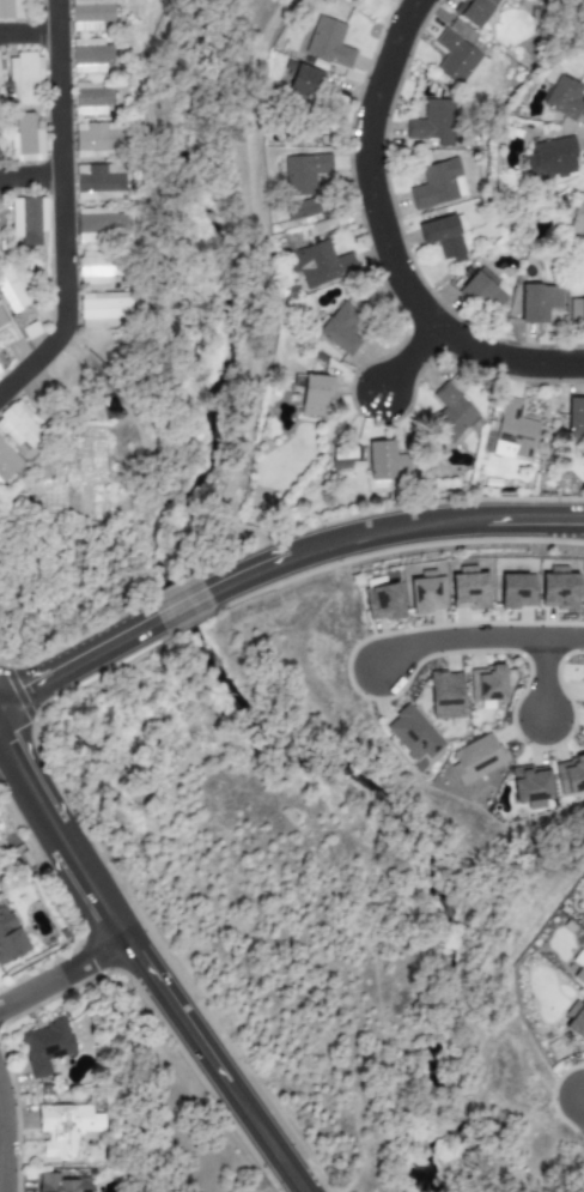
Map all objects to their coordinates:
building: (10, 10)
building: (475, 12)
building: (90, 14)
road: (28, 34)
building: (327, 42)
building: (90, 55)
building: (455, 56)
building: (24, 80)
building: (302, 84)
building: (562, 97)
building: (91, 98)
building: (432, 122)
building: (26, 139)
building: (98, 139)
building: (550, 158)
building: (304, 174)
road: (30, 176)
building: (97, 181)
building: (438, 184)
road: (61, 208)
building: (303, 208)
building: (577, 214)
building: (28, 219)
building: (101, 224)
building: (442, 237)
road: (385, 242)
road: (159, 259)
building: (318, 264)
road: (255, 290)
building: (482, 290)
building: (11, 292)
building: (537, 302)
building: (104, 309)
building: (576, 310)
building: (2, 321)
building: (339, 328)
road: (409, 358)
building: (0, 375)
building: (315, 393)
building: (450, 413)
building: (574, 417)
building: (20, 426)
building: (513, 431)
building: (7, 461)
building: (385, 461)
road: (534, 520)
road: (385, 530)
road: (248, 573)
building: (558, 588)
building: (468, 589)
building: (516, 591)
building: (426, 593)
building: (382, 603)
road: (182, 605)
street lamp: (536, 621)
street lamp: (370, 635)
road: (457, 639)
road: (564, 639)
road: (79, 661)
road: (543, 678)
building: (486, 683)
traffic signals: (29, 690)
building: (445, 695)
building: (413, 733)
traffic signals: (7, 745)
street lamp: (548, 752)
building: (475, 758)
building: (570, 774)
road: (29, 783)
building: (530, 786)
road: (90, 888)
building: (10, 937)
road: (62, 974)
building: (579, 975)
road: (175, 1010)
building: (577, 1023)
building: (44, 1046)
street lamp: (554, 1078)
building: (65, 1129)
road: (263, 1137)
road: (1, 1149)
road: (266, 1180)
building: (61, 1184)

